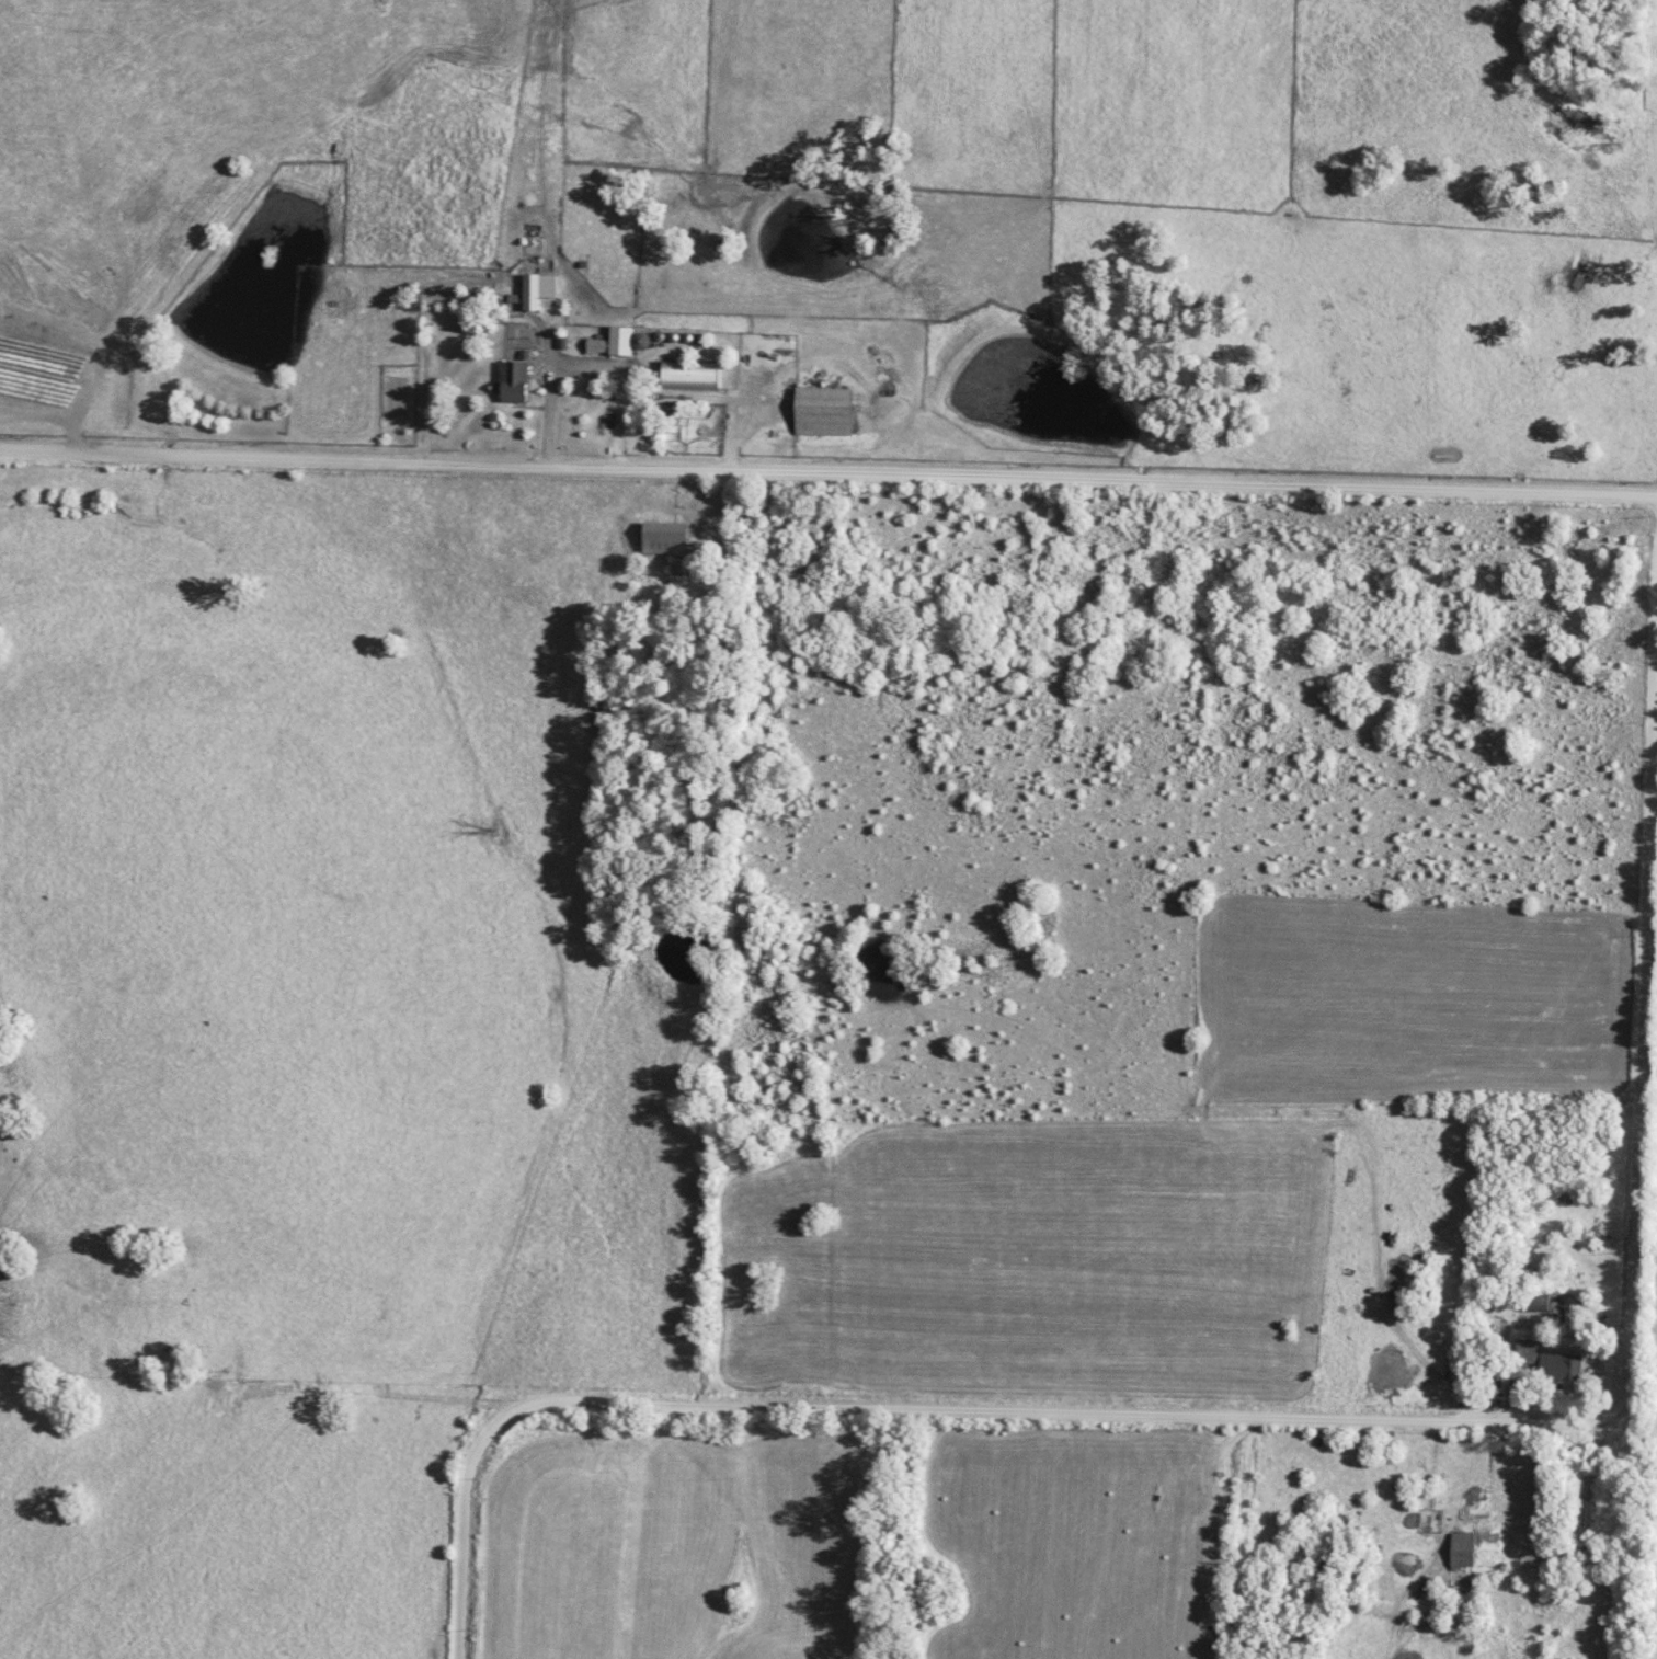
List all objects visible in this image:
building: (530, 290)
building: (614, 341)
road: (590, 369)
building: (690, 374)
building: (514, 380)
building: (824, 411)
road: (827, 476)
building: (664, 536)
building: (1551, 1363)
road: (1323, 1420)
road: (1463, 1489)
building: (1462, 1549)

